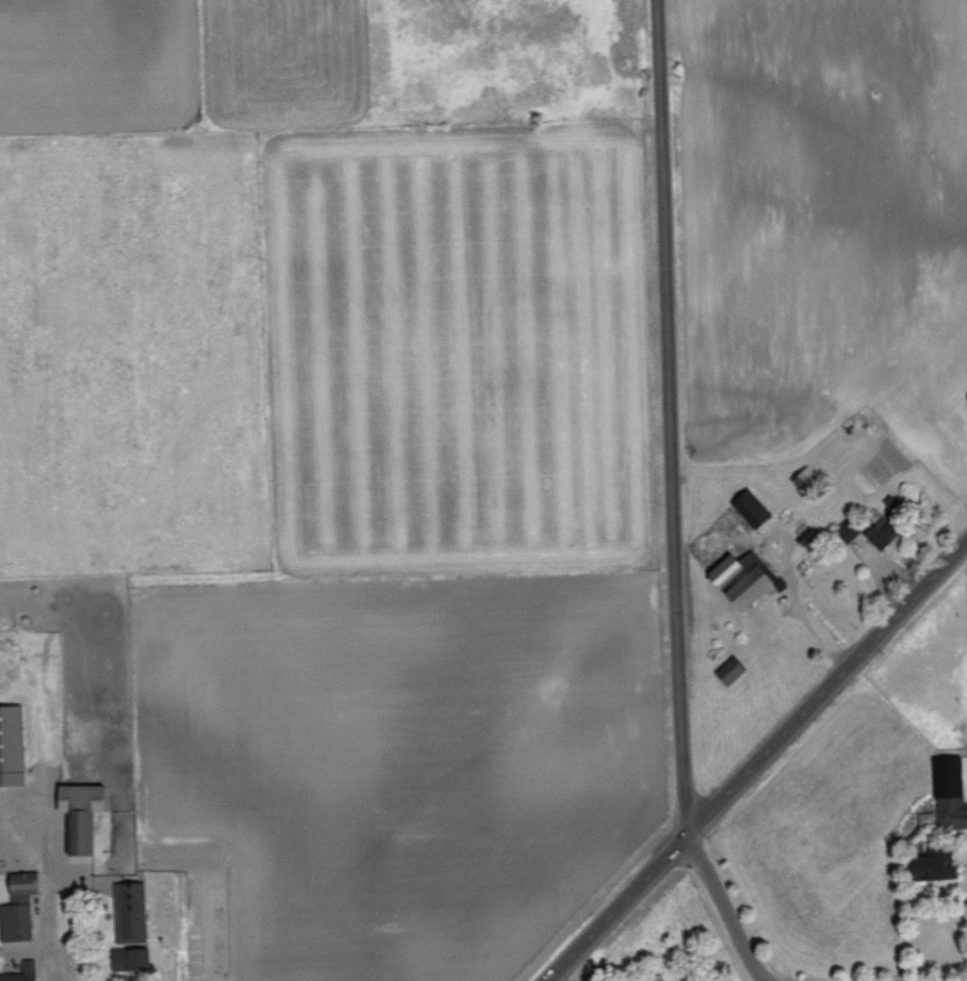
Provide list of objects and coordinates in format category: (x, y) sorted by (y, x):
road: (675, 420)
building: (811, 481)
building: (757, 509)
building: (851, 528)
building: (888, 531)
building: (810, 534)
building: (735, 568)
building: (756, 585)
building: (735, 669)
building: (14, 745)
road: (759, 766)
building: (952, 790)
building: (87, 813)
building: (928, 816)
building: (944, 863)
building: (23, 906)
road: (731, 911)
building: (134, 912)
building: (136, 958)
building: (23, 972)
building: (666, 978)

